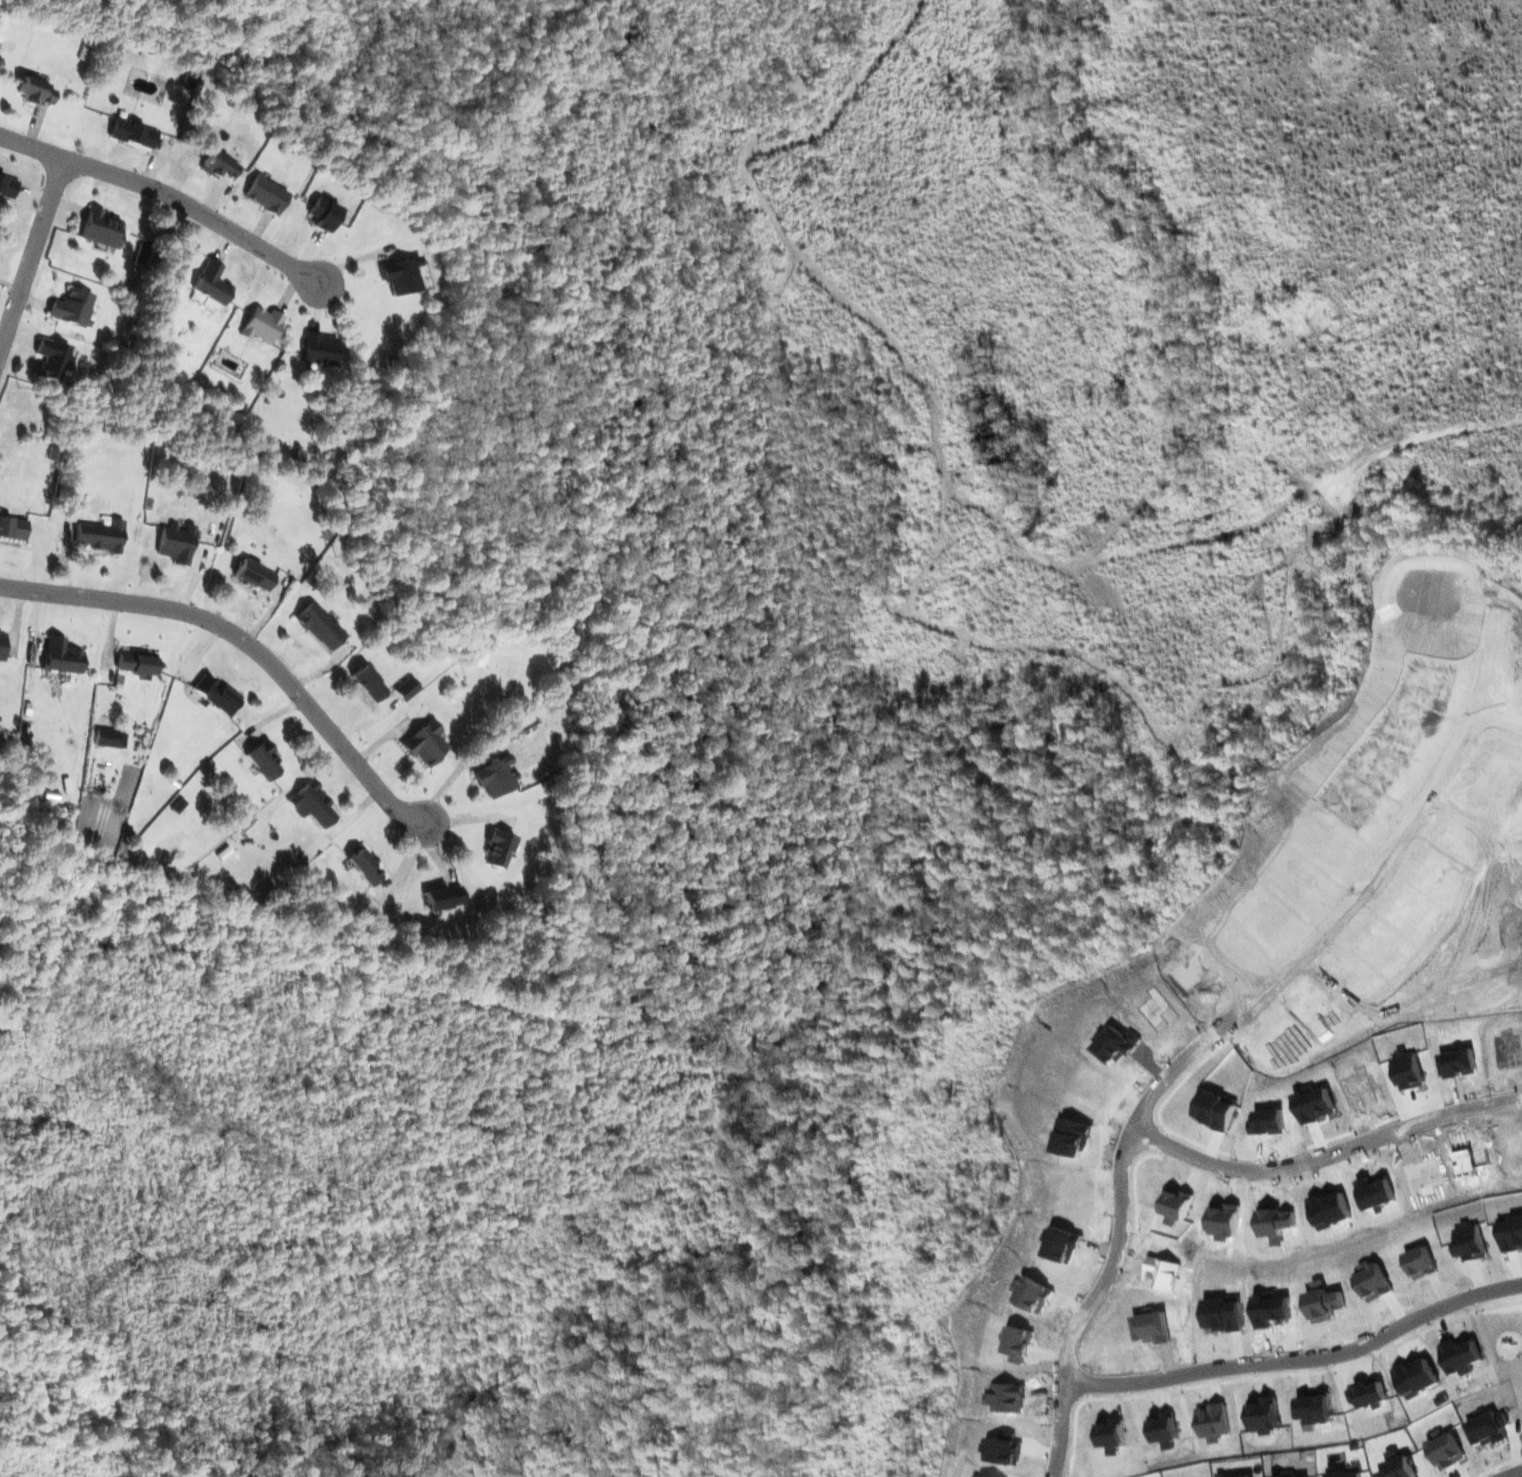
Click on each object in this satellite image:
building: (33, 92)
building: (134, 133)
building: (213, 165)
building: (8, 184)
road: (168, 195)
building: (264, 195)
building: (321, 214)
building: (102, 227)
road: (32, 258)
building: (402, 275)
building: (211, 282)
building: (72, 307)
building: (262, 325)
building: (320, 348)
building: (54, 359)
building: (11, 529)
building: (96, 537)
building: (173, 544)
building: (251, 575)
building: (319, 625)
building: (1, 641)
road: (246, 642)
building: (60, 656)
building: (132, 663)
building: (367, 683)
building: (409, 692)
building: (215, 695)
road: (1501, 718)
building: (426, 744)
building: (262, 761)
building: (496, 778)
building: (311, 804)
building: (498, 847)
building: (364, 866)
building: (441, 897)
road: (1219, 1029)
road: (1327, 1155)
road: (1300, 1359)
road: (1515, 1474)

